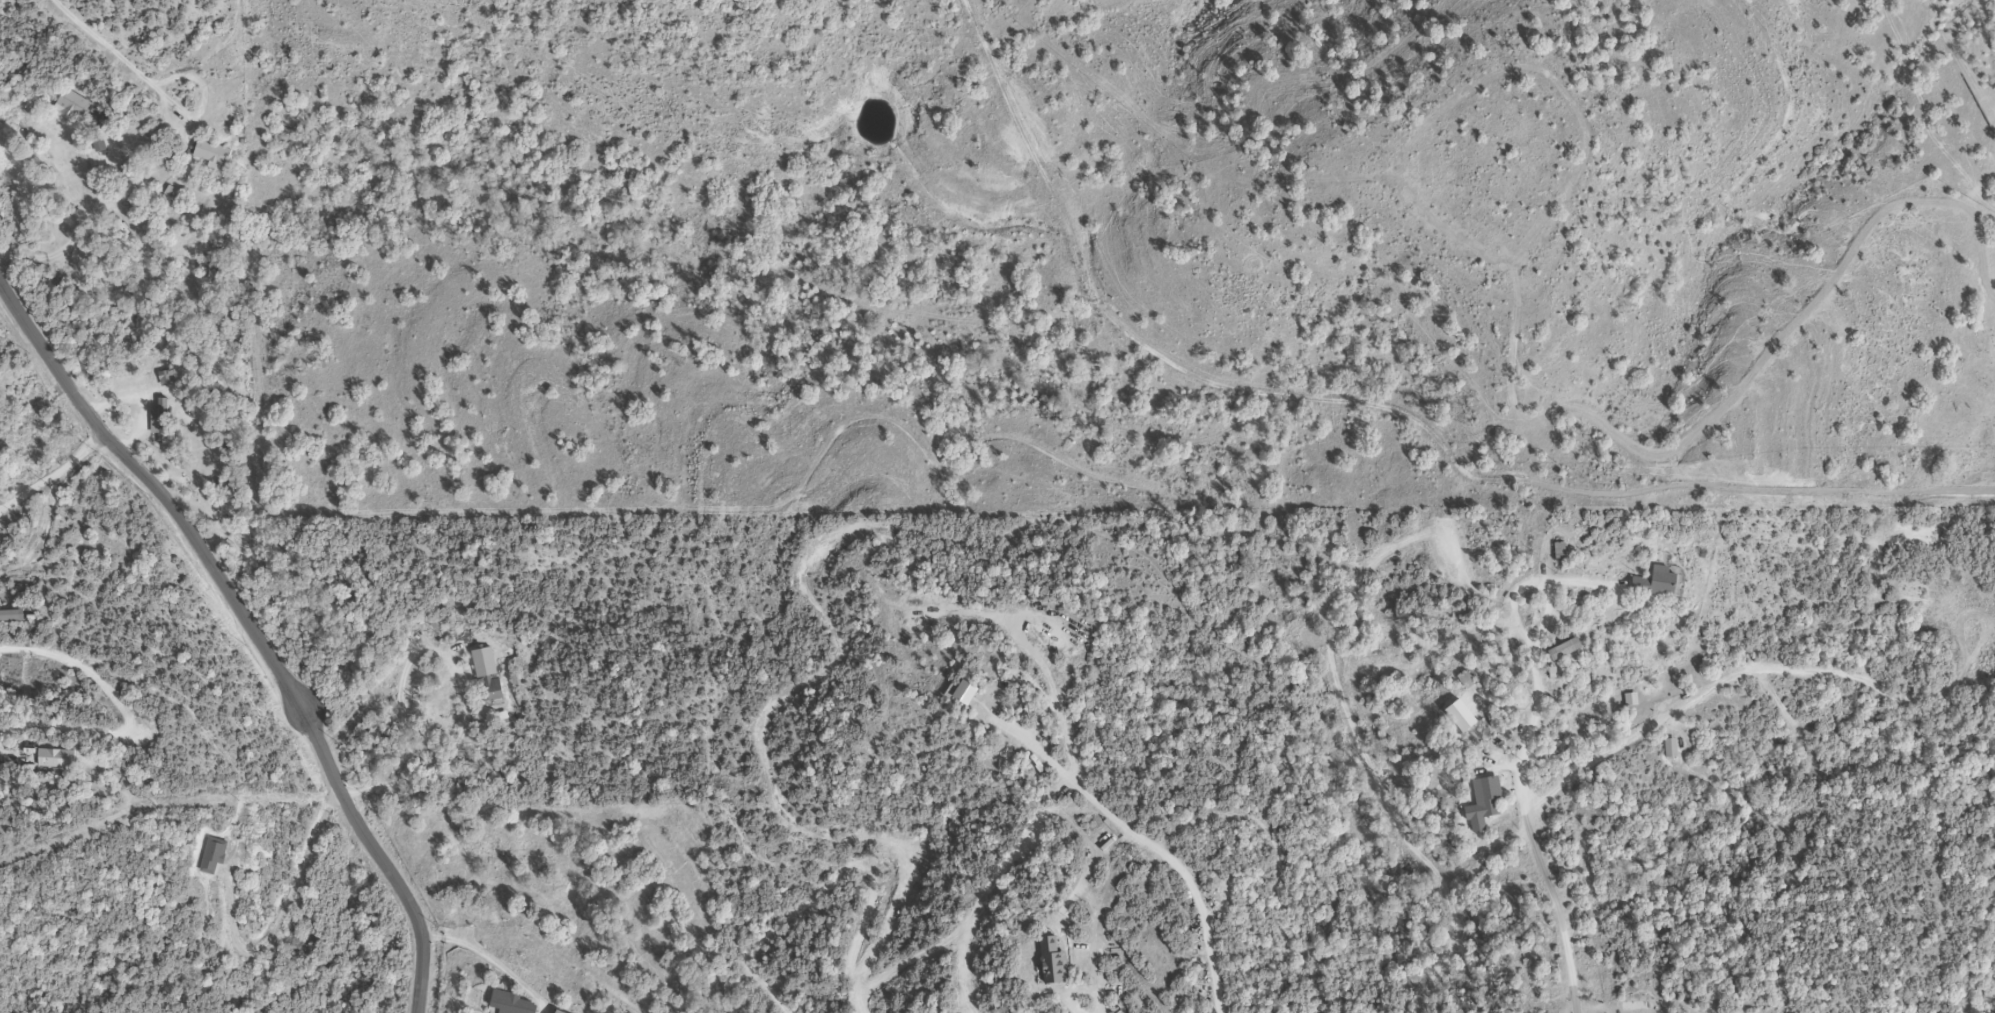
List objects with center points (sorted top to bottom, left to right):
road: (102, 43)
building: (72, 105)
building: (211, 154)
road: (80, 233)
building: (161, 422)
road: (51, 471)
building: (1559, 553)
building: (1655, 584)
road: (249, 629)
building: (1564, 651)
road: (463, 675)
building: (486, 676)
building: (964, 694)
road: (1595, 759)
building: (55, 760)
road: (1521, 799)
building: (1483, 805)
building: (212, 856)
road: (279, 901)
road: (485, 950)
building: (1051, 964)
building: (511, 1004)
road: (1079, 1008)
building: (556, 1012)

